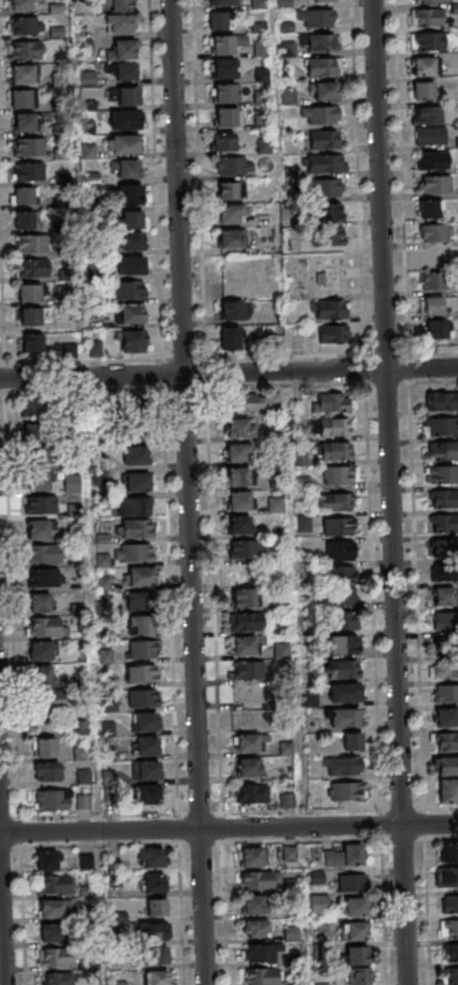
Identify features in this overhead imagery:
building: (430, 0)
building: (319, 1)
building: (220, 2)
building: (20, 5)
building: (120, 5)
building: (427, 16)
building: (319, 18)
building: (216, 20)
building: (119, 23)
building: (26, 25)
building: (428, 42)
building: (226, 43)
building: (322, 43)
building: (260, 48)
building: (23, 49)
building: (121, 49)
building: (422, 66)
building: (323, 67)
building: (222, 69)
building: (126, 71)
building: (24, 74)
building: (262, 74)
building: (88, 78)
building: (323, 91)
building: (423, 91)
building: (224, 93)
building: (128, 96)
building: (261, 97)
building: (21, 99)
building: (320, 115)
building: (426, 115)
building: (227, 117)
building: (124, 119)
building: (261, 120)
building: (23, 122)
building: (430, 136)
building: (324, 139)
building: (223, 141)
building: (123, 143)
building: (264, 145)
building: (28, 147)
building: (431, 160)
building: (324, 163)
building: (234, 165)
building: (128, 168)
building: (28, 171)
road: (402, 175)
building: (434, 184)
building: (325, 188)
building: (229, 190)
building: (130, 194)
building: (22, 195)
building: (429, 209)
building: (329, 212)
building: (229, 214)
building: (131, 219)
building: (24, 220)
building: (434, 233)
building: (328, 237)
building: (231, 238)
building: (131, 240)
building: (34, 244)
building: (436, 257)
building: (130, 265)
building: (33, 268)
building: (433, 281)
building: (128, 290)
building: (28, 292)
building: (437, 306)
building: (330, 309)
building: (232, 310)
building: (129, 314)
building: (31, 316)
building: (437, 330)
building: (333, 334)
building: (230, 338)
building: (131, 340)
building: (32, 342)
road: (433, 350)
road: (229, 373)
road: (332, 384)
road: (84, 390)
building: (255, 402)
building: (330, 402)
building: (439, 402)
building: (33, 406)
building: (135, 415)
building: (333, 427)
building: (440, 427)
building: (240, 428)
building: (36, 434)
building: (442, 450)
building: (236, 452)
building: (334, 452)
building: (135, 455)
building: (36, 460)
building: (441, 474)
building: (340, 475)
building: (240, 476)
building: (37, 480)
building: (72, 481)
building: (138, 482)
road: (186, 492)
road: (388, 492)
building: (442, 498)
building: (238, 501)
building: (334, 502)
building: (40, 505)
building: (275, 505)
building: (133, 507)
building: (444, 523)
building: (239, 525)
building: (337, 526)
building: (135, 528)
building: (38, 530)
building: (444, 548)
building: (244, 550)
building: (339, 551)
building: (135, 553)
building: (45, 554)
building: (102, 561)
building: (444, 572)
building: (342, 574)
building: (142, 577)
building: (44, 578)
road: (416, 595)
road: (373, 596)
building: (444, 596)
building: (242, 597)
building: (343, 597)
road: (171, 600)
road: (213, 600)
building: (140, 602)
building: (39, 603)
road: (12, 604)
building: (342, 621)
building: (445, 622)
building: (245, 623)
building: (141, 626)
building: (280, 626)
building: (47, 627)
building: (342, 644)
building: (245, 645)
building: (445, 645)
building: (142, 649)
building: (282, 651)
building: (41, 652)
building: (341, 669)
building: (445, 669)
building: (247, 670)
building: (142, 673)
building: (43, 675)
building: (344, 693)
building: (249, 694)
building: (446, 694)
building: (143, 698)
building: (52, 699)
building: (344, 717)
building: (247, 718)
building: (445, 718)
building: (145, 722)
building: (81, 728)
building: (352, 741)
building: (446, 742)
building: (246, 743)
building: (146, 745)
building: (45, 747)
building: (286, 748)
building: (343, 766)
building: (446, 766)
building: (248, 767)
building: (146, 769)
building: (48, 771)
building: (83, 776)
building: (448, 790)
building: (346, 791)
building: (252, 793)
building: (148, 795)
building: (287, 799)
building: (53, 800)
building: (84, 801)
road: (441, 808)
road: (300, 811)
road: (99, 814)
road: (228, 829)
road: (441, 838)
building: (448, 853)
building: (343, 855)
building: (151, 857)
building: (251, 857)
building: (46, 861)
building: (86, 861)
building: (316, 877)
building: (447, 877)
building: (256, 880)
building: (352, 882)
building: (154, 883)
building: (55, 884)
building: (449, 903)
building: (254, 905)
building: (319, 905)
building: (157, 907)
building: (356, 907)
building: (52, 908)
road: (427, 911)
building: (449, 928)
building: (255, 929)
building: (153, 931)
building: (355, 931)
building: (51, 933)
building: (291, 934)
road: (1, 944)
building: (450, 952)
building: (259, 953)
building: (156, 955)
building: (357, 955)
building: (56, 957)
building: (359, 976)
building: (452, 976)
building: (157, 977)
building: (260, 977)
building: (57, 979)

